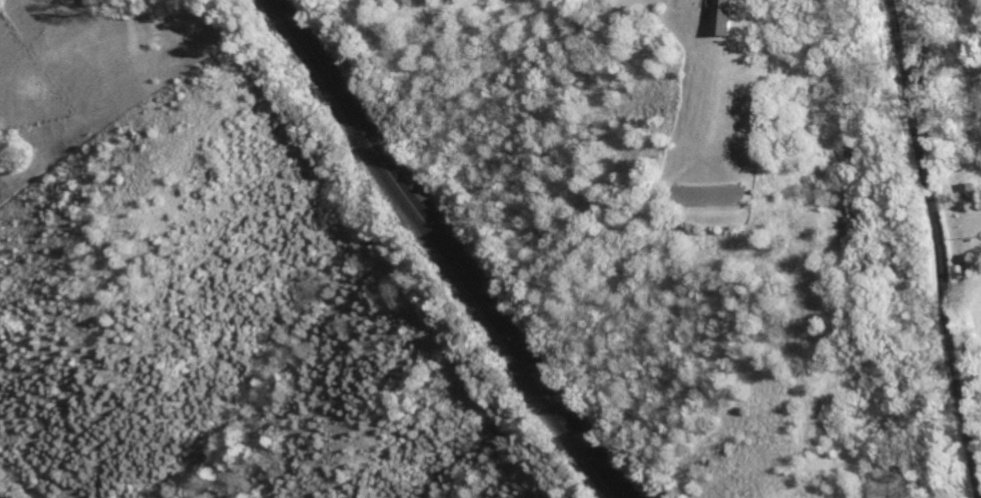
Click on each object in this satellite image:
building: (724, 17)
railway: (443, 248)
railway: (452, 248)
road: (937, 249)

